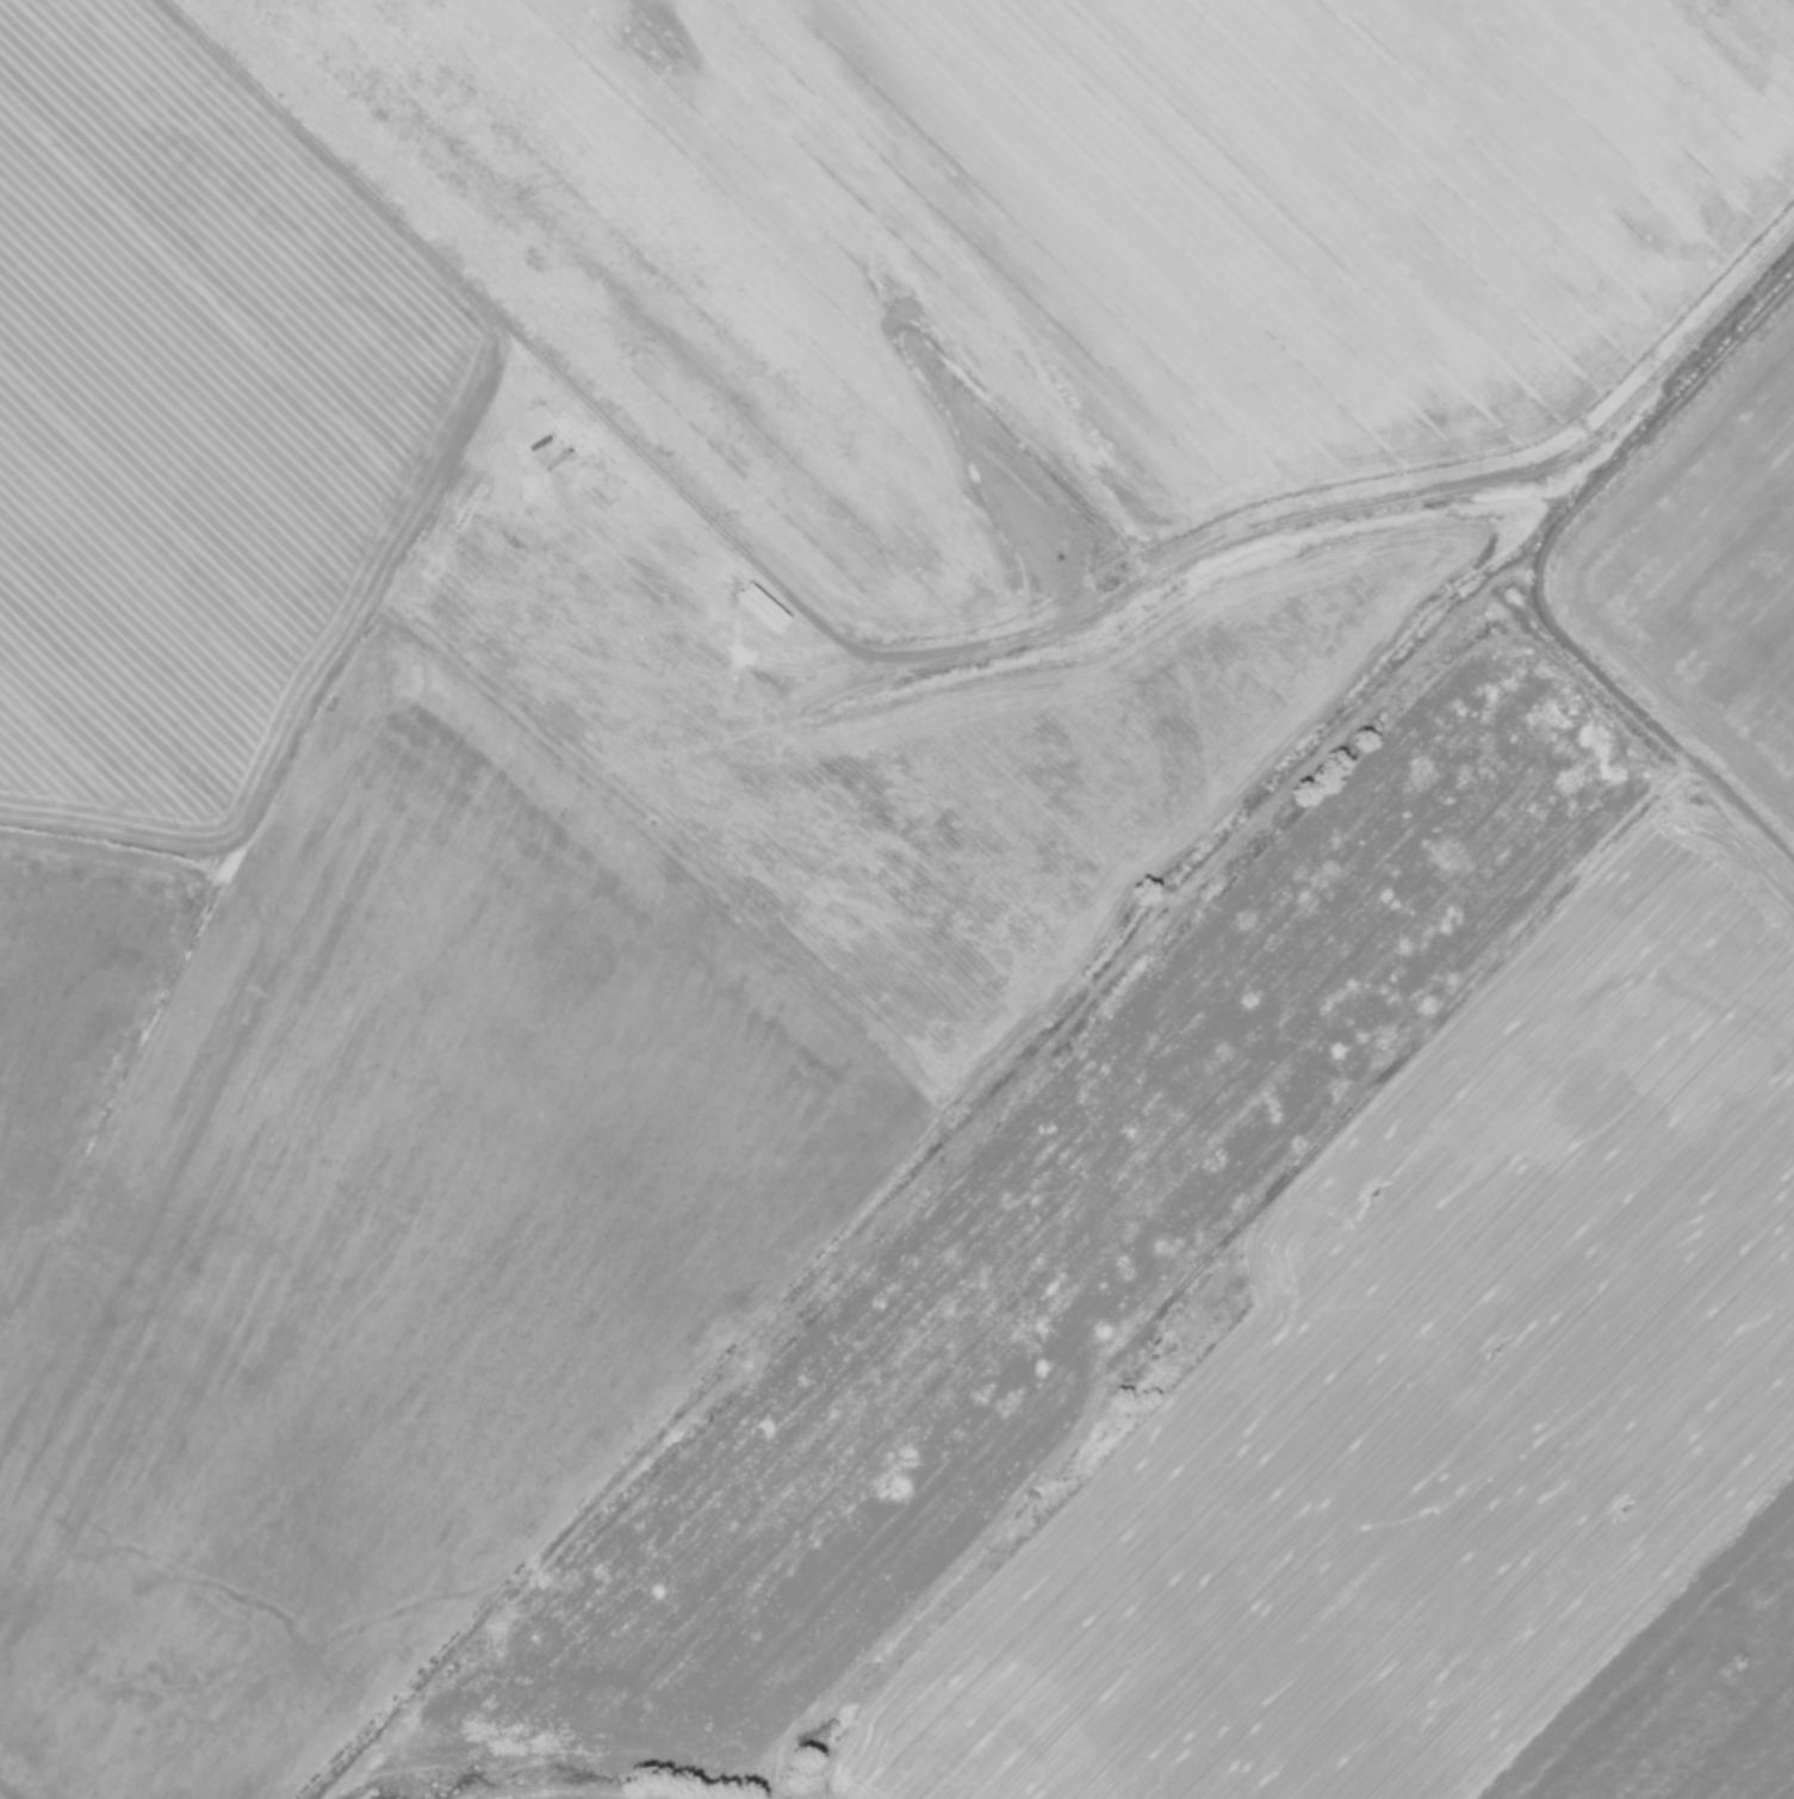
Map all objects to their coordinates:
road: (1546, 571)

